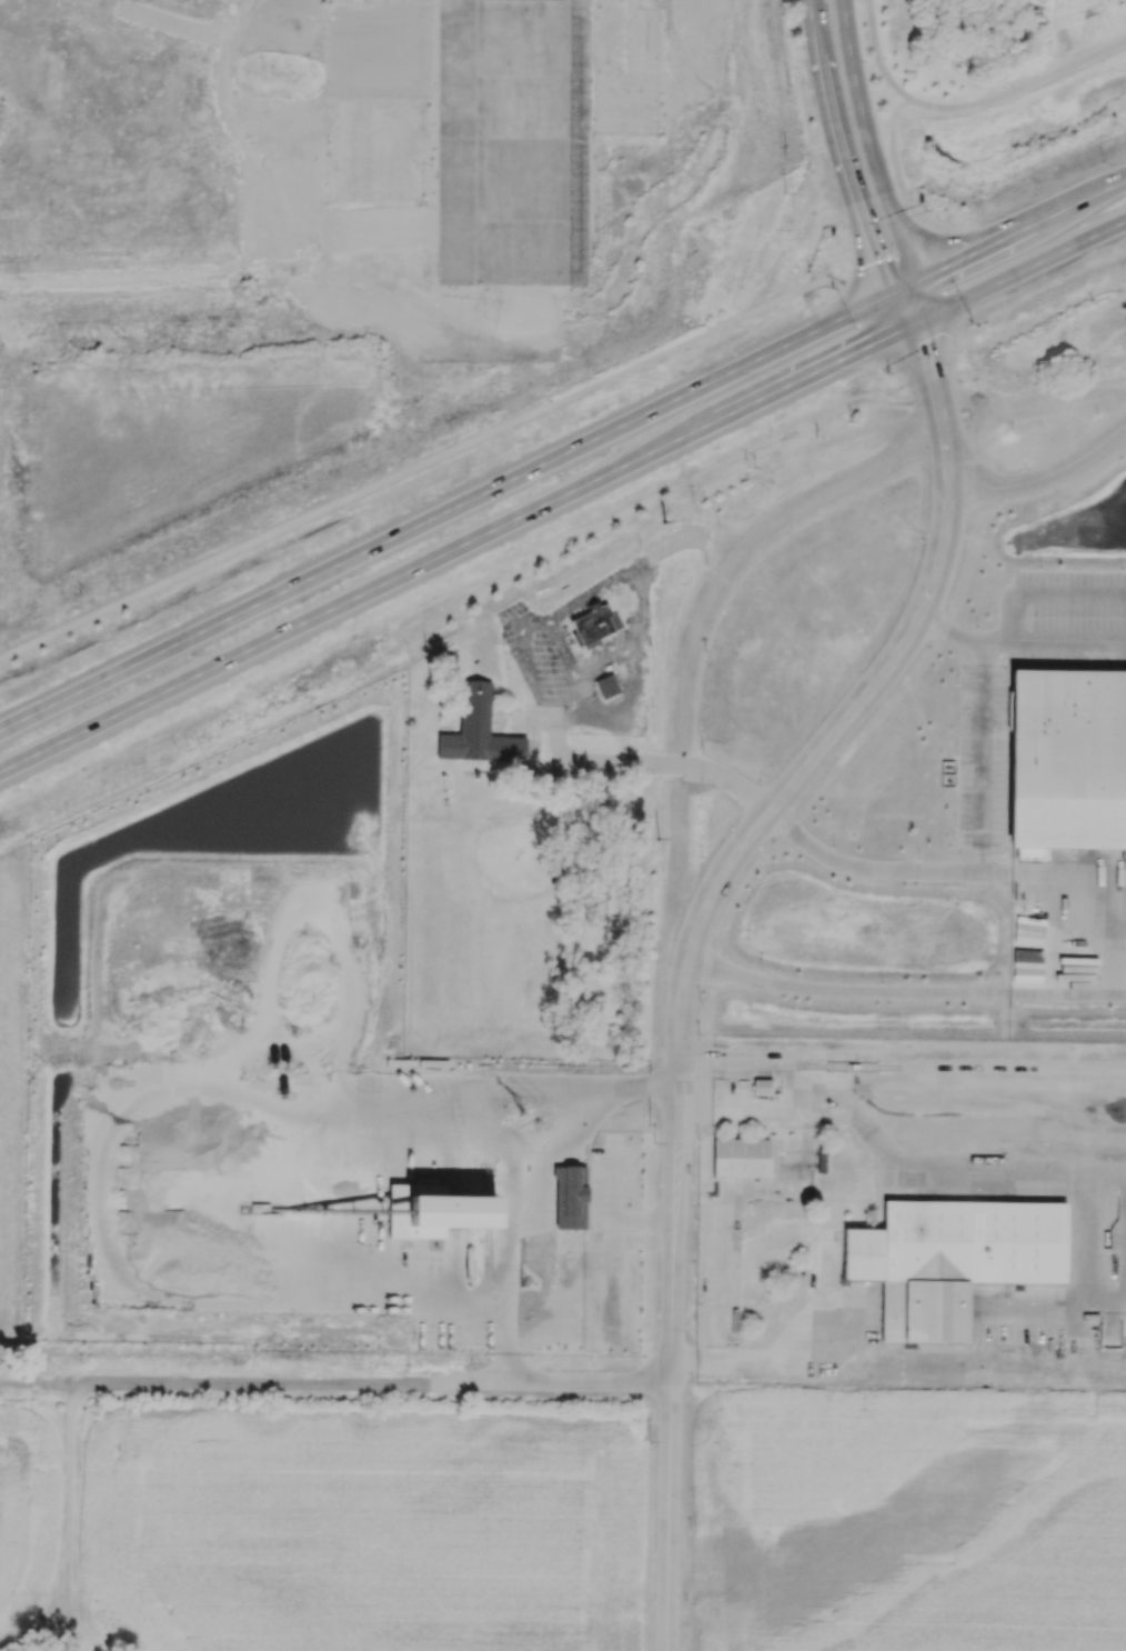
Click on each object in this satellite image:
road: (871, 36)
road: (892, 87)
road: (1019, 90)
road: (885, 93)
road: (858, 101)
road: (898, 108)
road: (841, 170)
road: (901, 189)
power tower: (778, 196)
road: (1083, 203)
road: (1031, 228)
road: (956, 240)
road: (895, 261)
road: (906, 261)
traffic signals: (873, 262)
road: (954, 264)
traffic signals: (945, 270)
road: (1018, 271)
road: (856, 278)
traffic signals: (918, 343)
traffic signals: (866, 348)
road: (931, 380)
road: (420, 467)
road: (1040, 473)
road: (443, 514)
power tower: (664, 522)
road: (455, 548)
building: (594, 626)
road: (1053, 644)
building: (607, 687)
building: (479, 731)
building: (1066, 759)
road: (658, 764)
road: (981, 835)
road: (904, 990)
road: (680, 1002)
building: (762, 1088)
building: (741, 1158)
road: (974, 1181)
building: (571, 1198)
building: (434, 1212)
building: (952, 1260)
road: (770, 1354)
road: (379, 1384)
road: (43, 1385)
crop: (22, 1502)
road: (70, 1515)
crop: (364, 1533)

